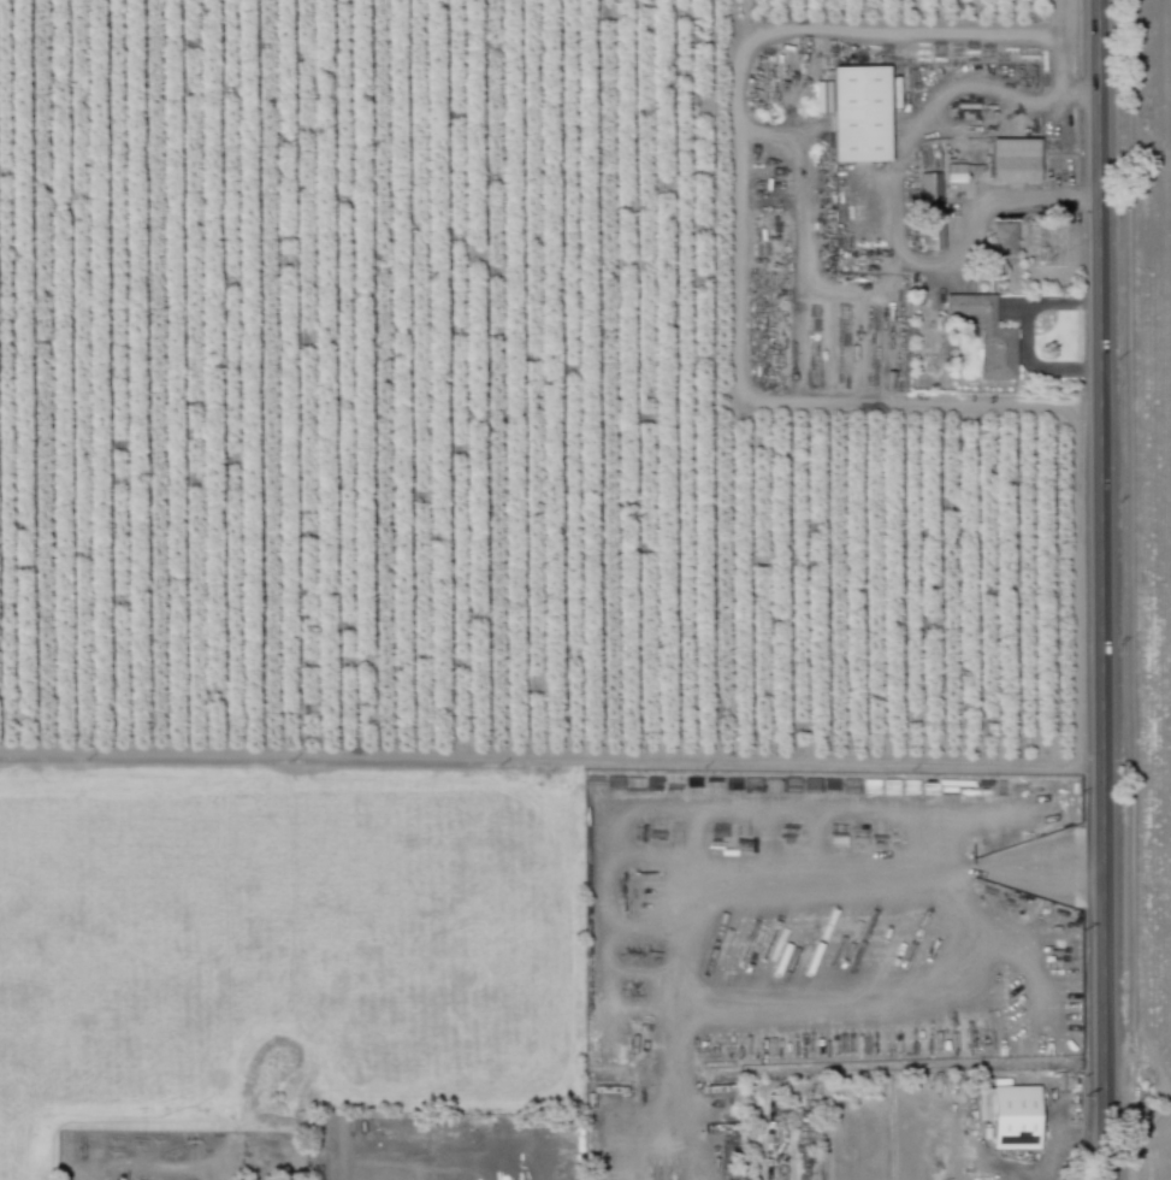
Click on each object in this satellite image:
building: (859, 113)
building: (1013, 160)
building: (954, 172)
building: (930, 211)
road: (733, 212)
road: (883, 219)
building: (1003, 237)
building: (987, 335)
road: (1024, 335)
crop: (1154, 517)
road: (1099, 533)
road: (692, 934)
crop: (282, 940)
road: (666, 1062)
building: (1011, 1115)
road: (1105, 1125)
road: (365, 1143)
road: (641, 1150)
road: (688, 1150)
crop: (1159, 1154)
road: (426, 1162)

